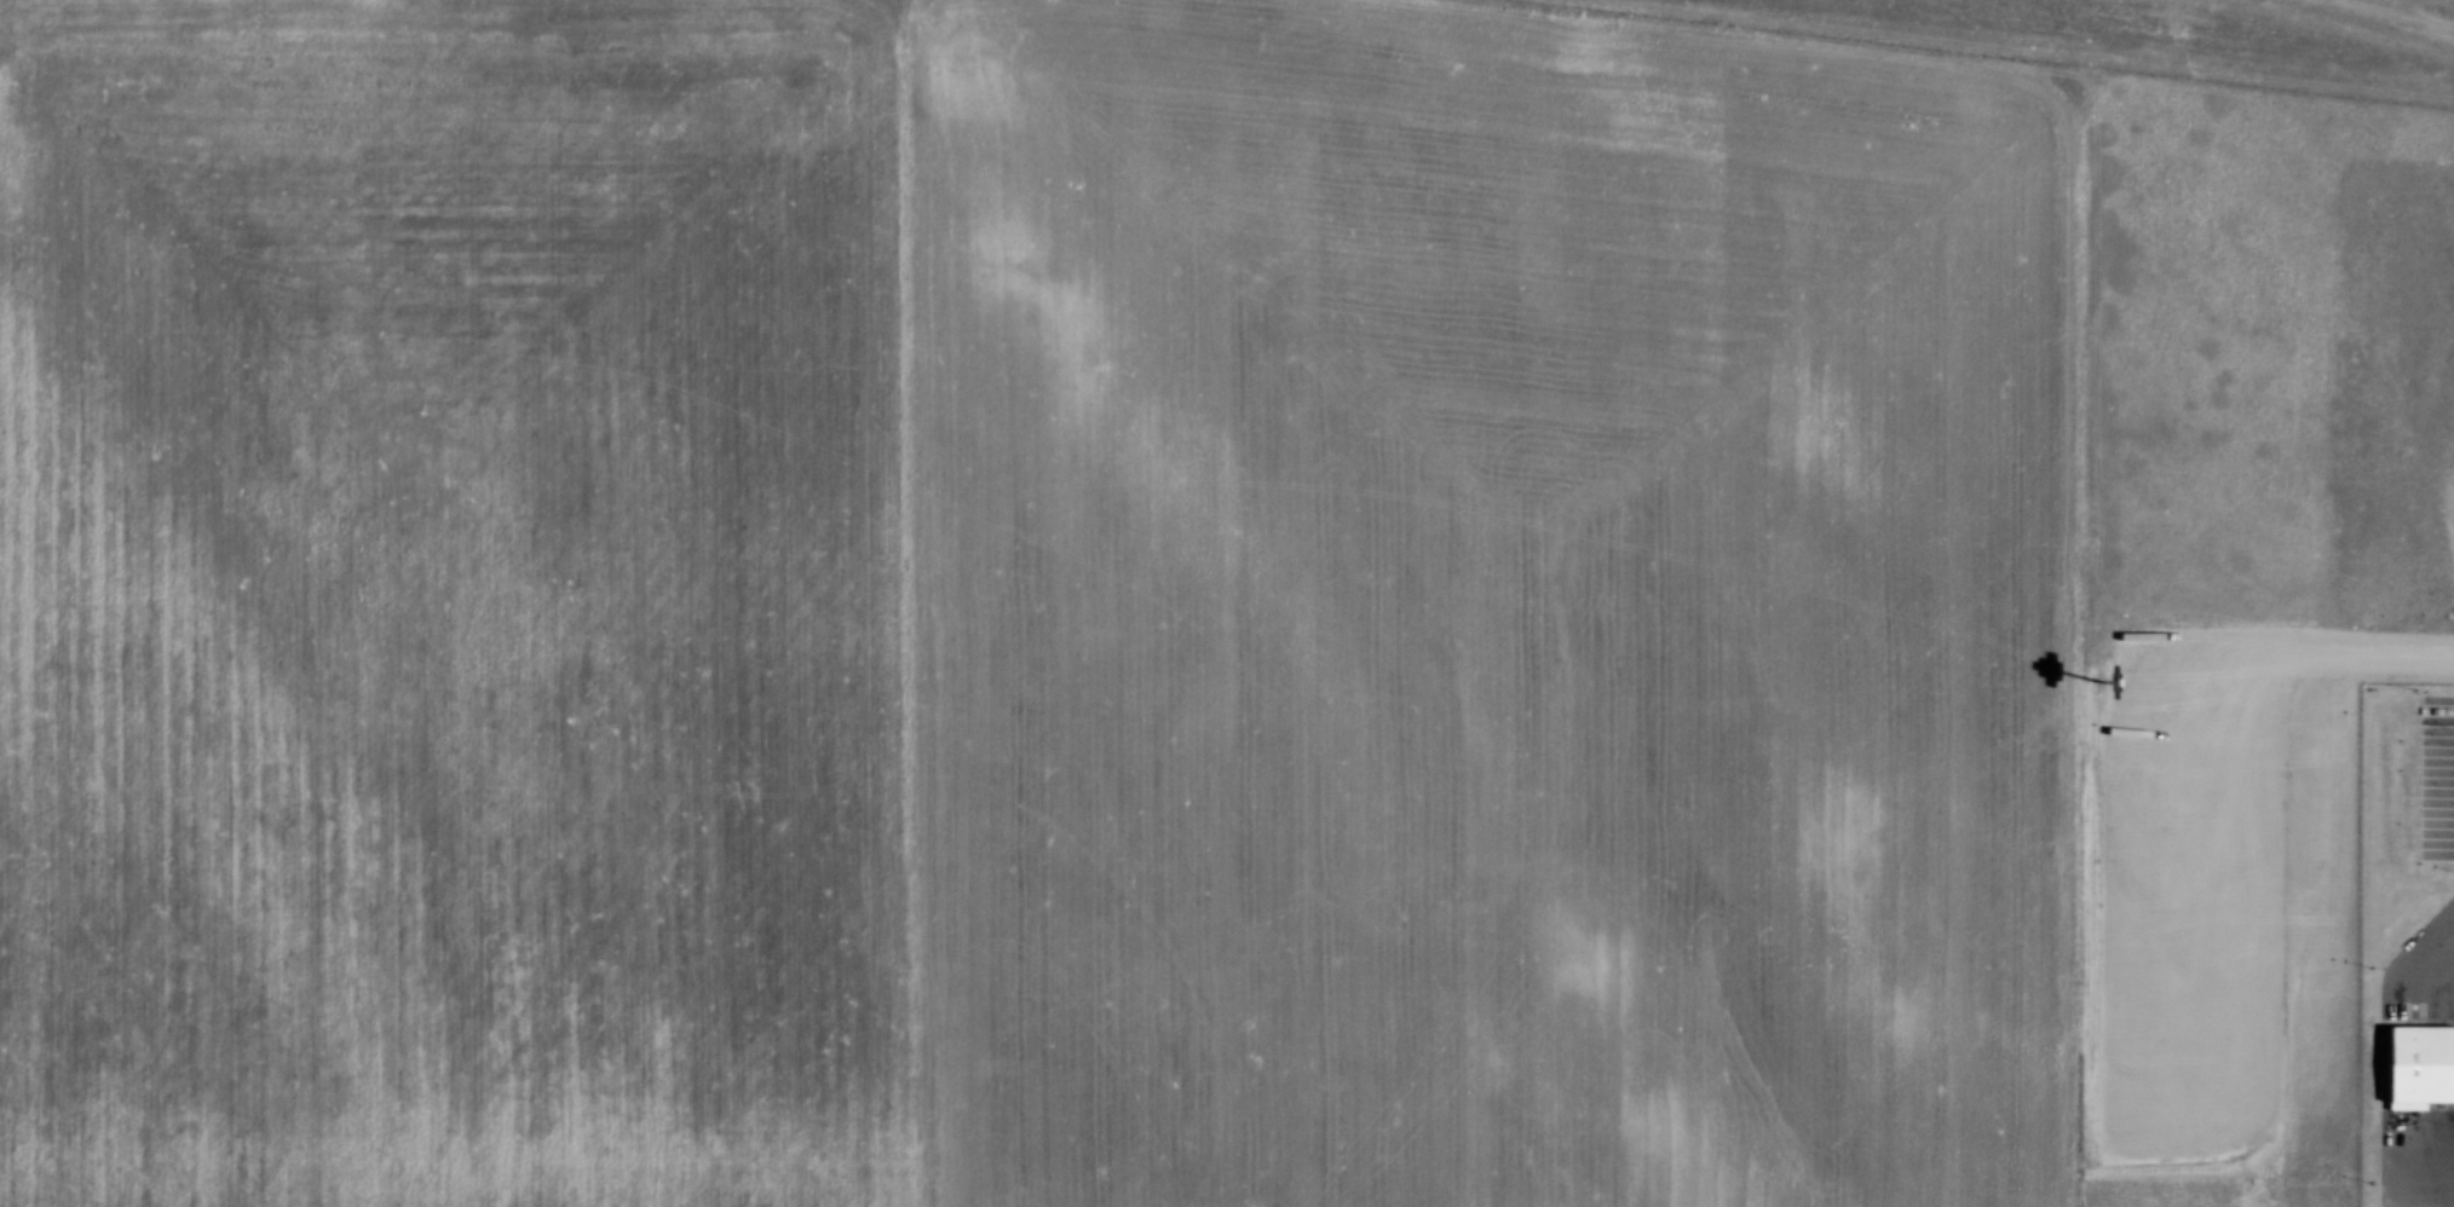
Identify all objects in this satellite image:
crop: (1027, 610)

